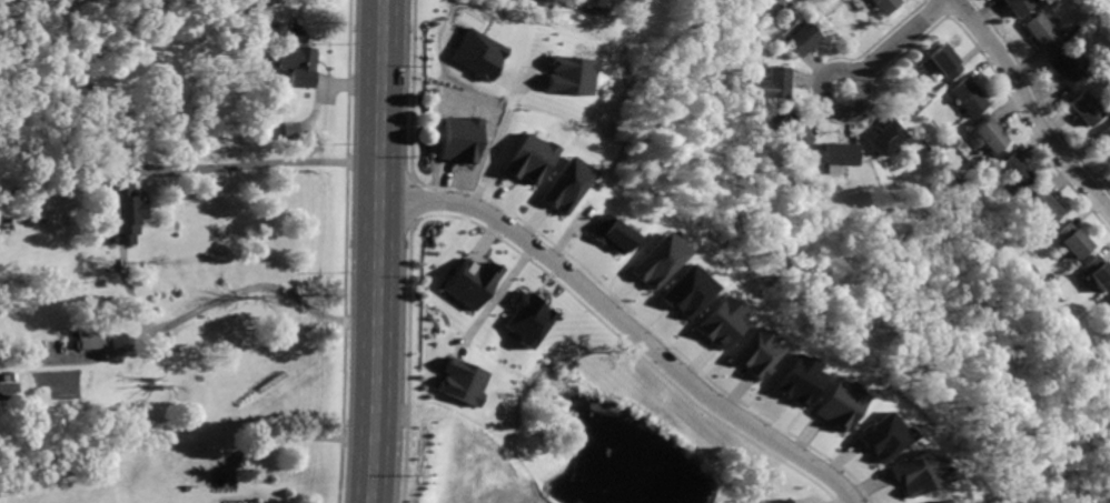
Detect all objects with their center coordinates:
building: (587, 2)
road: (543, 3)
building: (884, 6)
road: (939, 6)
building: (1019, 6)
road: (944, 12)
building: (1043, 32)
road: (899, 36)
building: (802, 39)
building: (476, 52)
building: (296, 63)
building: (943, 63)
building: (1067, 70)
building: (565, 73)
road: (345, 83)
building: (772, 84)
road: (408, 94)
road: (824, 97)
building: (968, 98)
road: (1038, 98)
road: (1030, 107)
building: (1088, 108)
road: (816, 111)
road: (1023, 124)
building: (288, 128)
building: (791, 132)
building: (990, 135)
building: (883, 137)
building: (1106, 137)
road: (495, 143)
building: (838, 152)
building: (527, 158)
road: (246, 162)
building: (1015, 171)
building: (564, 184)
road: (406, 207)
building: (1042, 207)
building: (126, 210)
building: (602, 229)
building: (1071, 241)
road: (343, 251)
road: (374, 251)
building: (656, 260)
building: (1097, 273)
building: (468, 282)
building: (684, 290)
road: (497, 296)
road: (214, 305)
building: (1107, 305)
building: (516, 313)
building: (717, 321)
road: (623, 324)
building: (96, 338)
building: (754, 352)
road: (82, 355)
road: (400, 363)
building: (795, 379)
building: (459, 380)
building: (835, 403)
building: (869, 431)
road: (285, 440)
building: (912, 471)
building: (775, 501)
building: (784, 501)
building: (926, 501)
building: (935, 501)
building: (241, 502)

